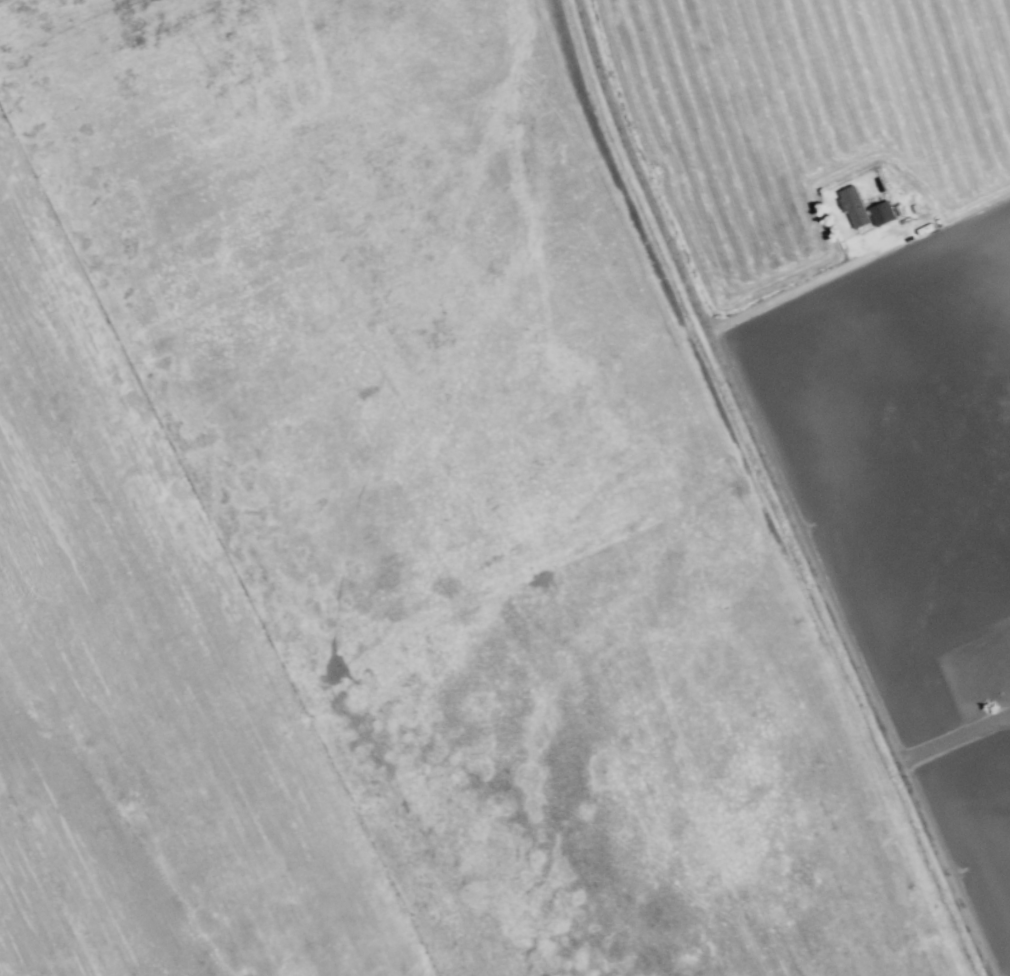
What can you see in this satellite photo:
road: (2, 1)
crop: (12, 7)
building: (852, 207)
building: (881, 214)
crop: (348, 242)
crop: (866, 322)
road: (770, 490)
crop: (140, 699)
road: (950, 738)

